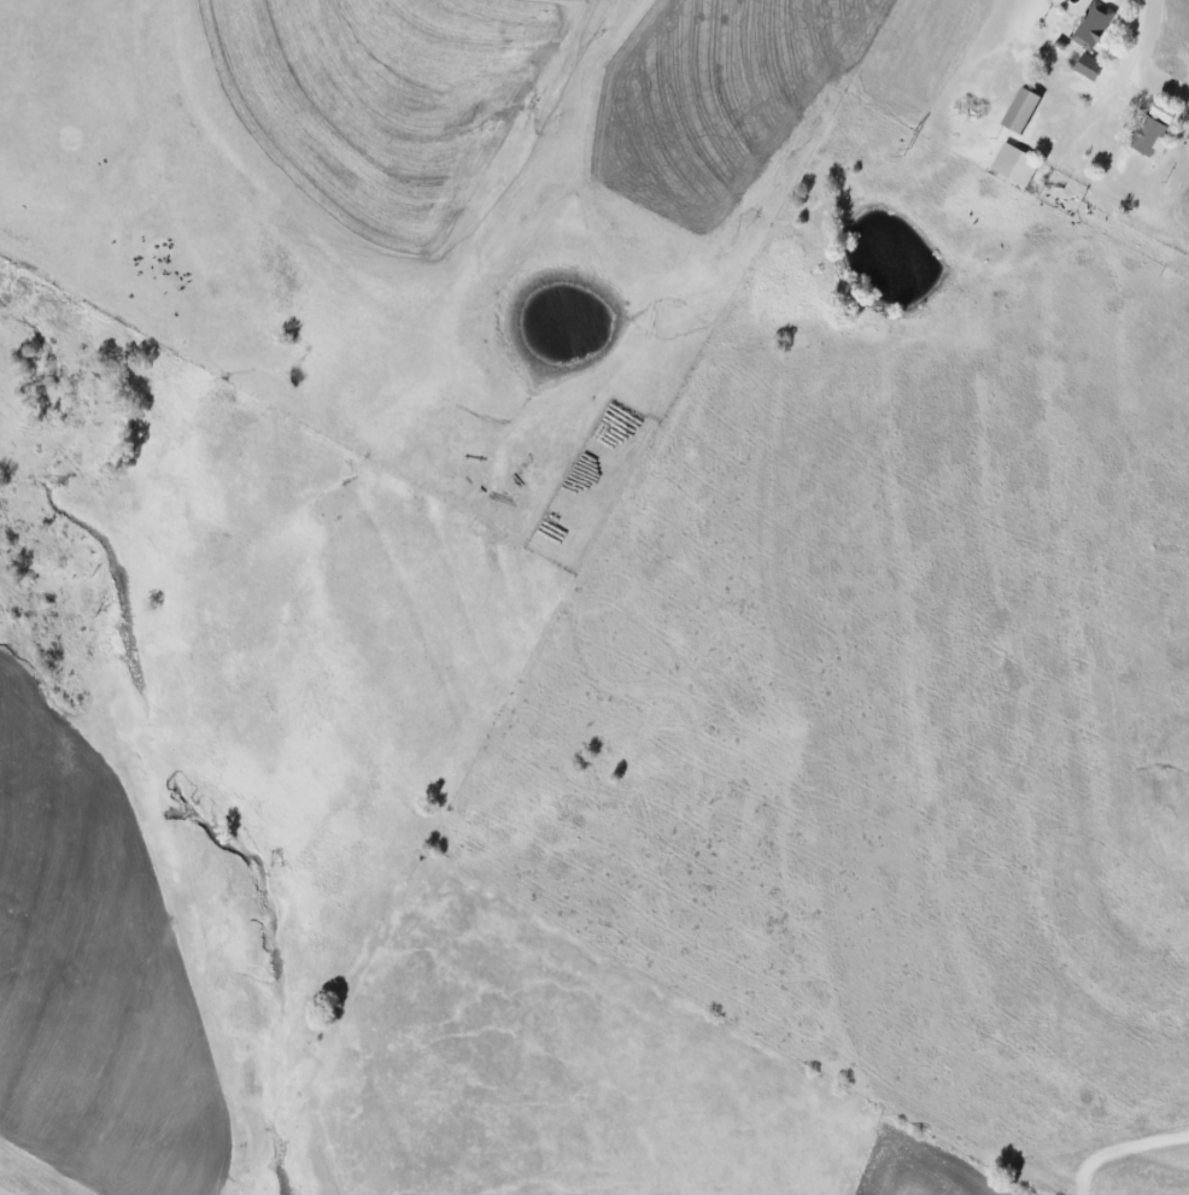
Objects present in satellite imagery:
building: (1093, 25)
building: (1088, 66)
road: (1119, 70)
building: (1020, 110)
building: (1162, 112)
building: (1148, 137)
power tower: (909, 151)
building: (1014, 164)
crop: (16, 1185)

